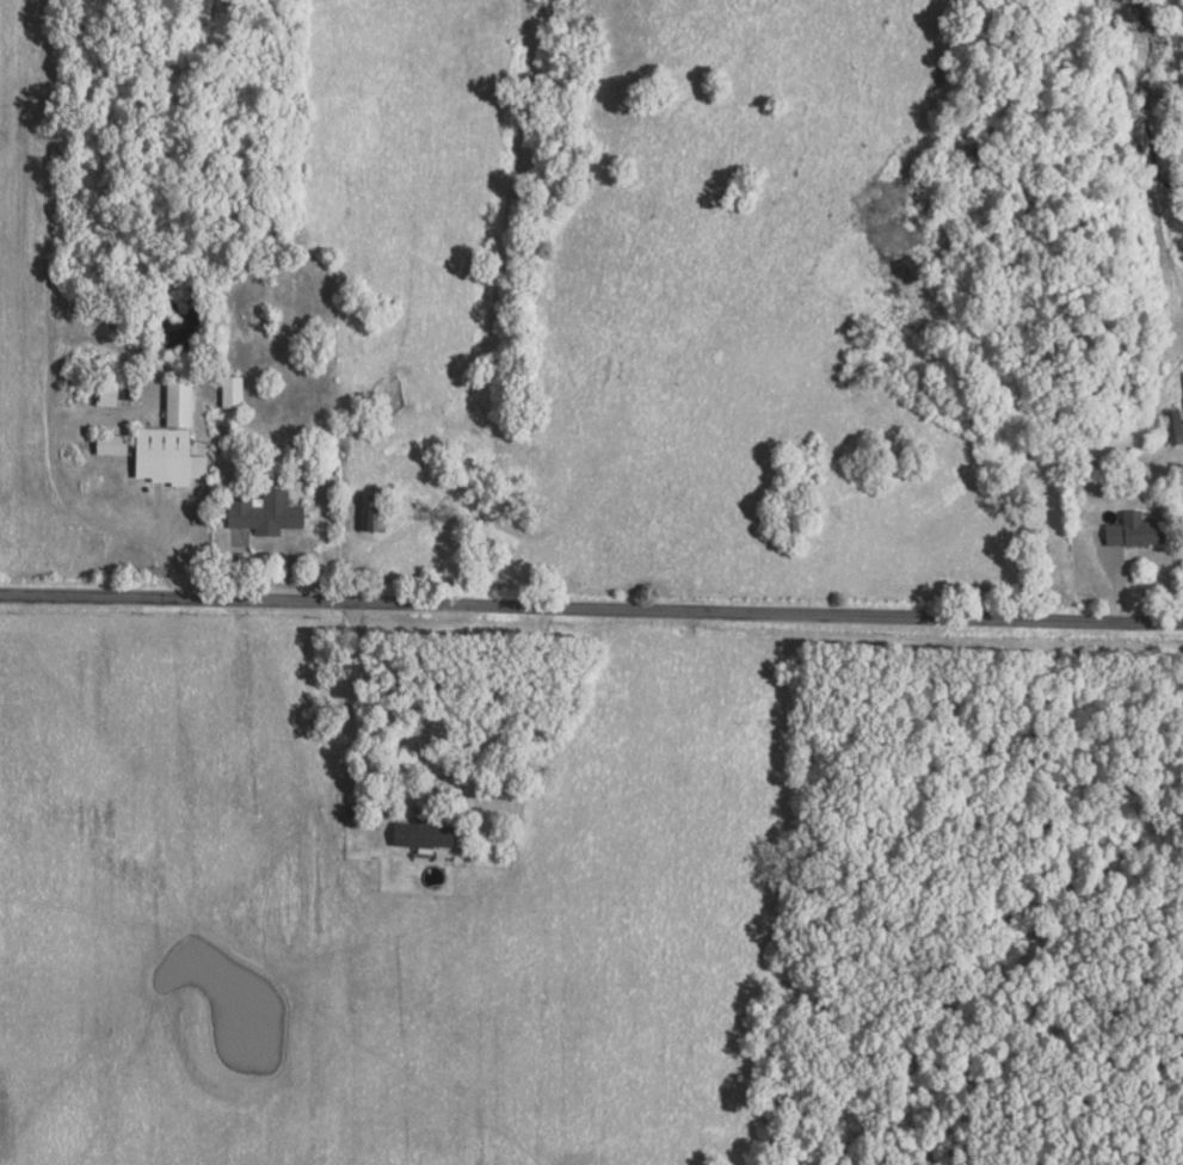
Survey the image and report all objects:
building: (234, 392)
building: (1173, 427)
building: (173, 442)
building: (116, 444)
building: (380, 511)
building: (269, 512)
building: (1123, 531)
road: (591, 608)
road: (357, 708)
building: (430, 833)

